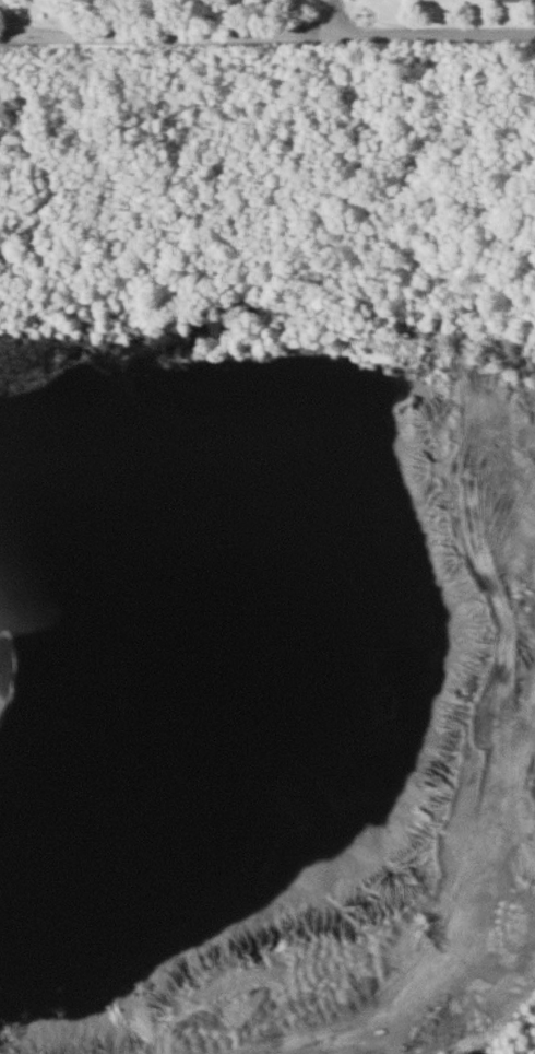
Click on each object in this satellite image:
road: (343, 19)
road: (22, 21)
road: (440, 35)
road: (173, 40)

